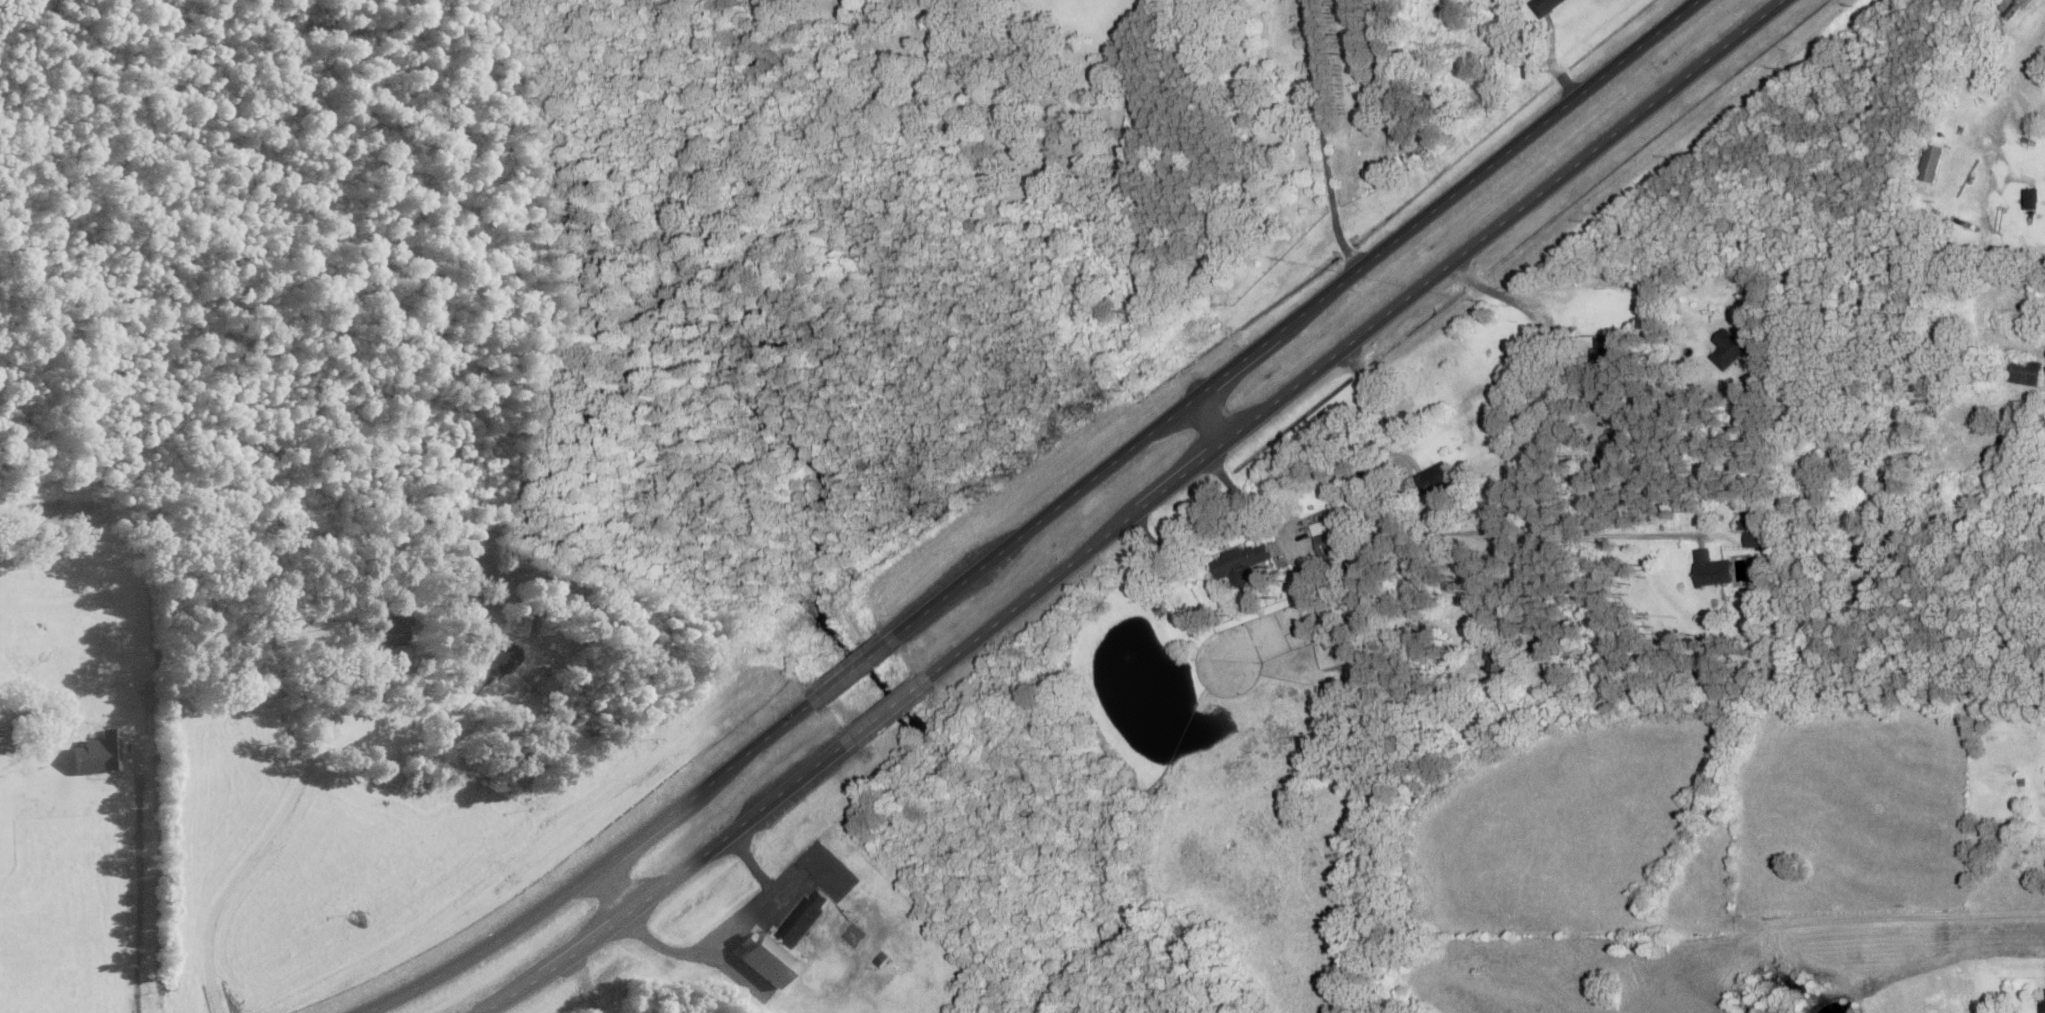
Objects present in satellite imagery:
building: (1543, 6)
road: (1541, 50)
building: (1929, 164)
road: (1291, 321)
road: (1350, 339)
building: (1602, 348)
building: (1728, 348)
building: (2023, 372)
road: (1208, 423)
road: (1583, 462)
building: (1432, 478)
building: (1325, 539)
building: (1754, 540)
building: (1238, 564)
building: (1710, 570)
road: (1548, 610)
building: (1500, 656)
building: (1326, 662)
road: (851, 670)
road: (885, 715)
road: (1672, 767)
road: (601, 871)
road: (669, 885)
road: (615, 894)
building: (801, 919)
building: (853, 938)
road: (1969, 947)
building: (2042, 1001)

